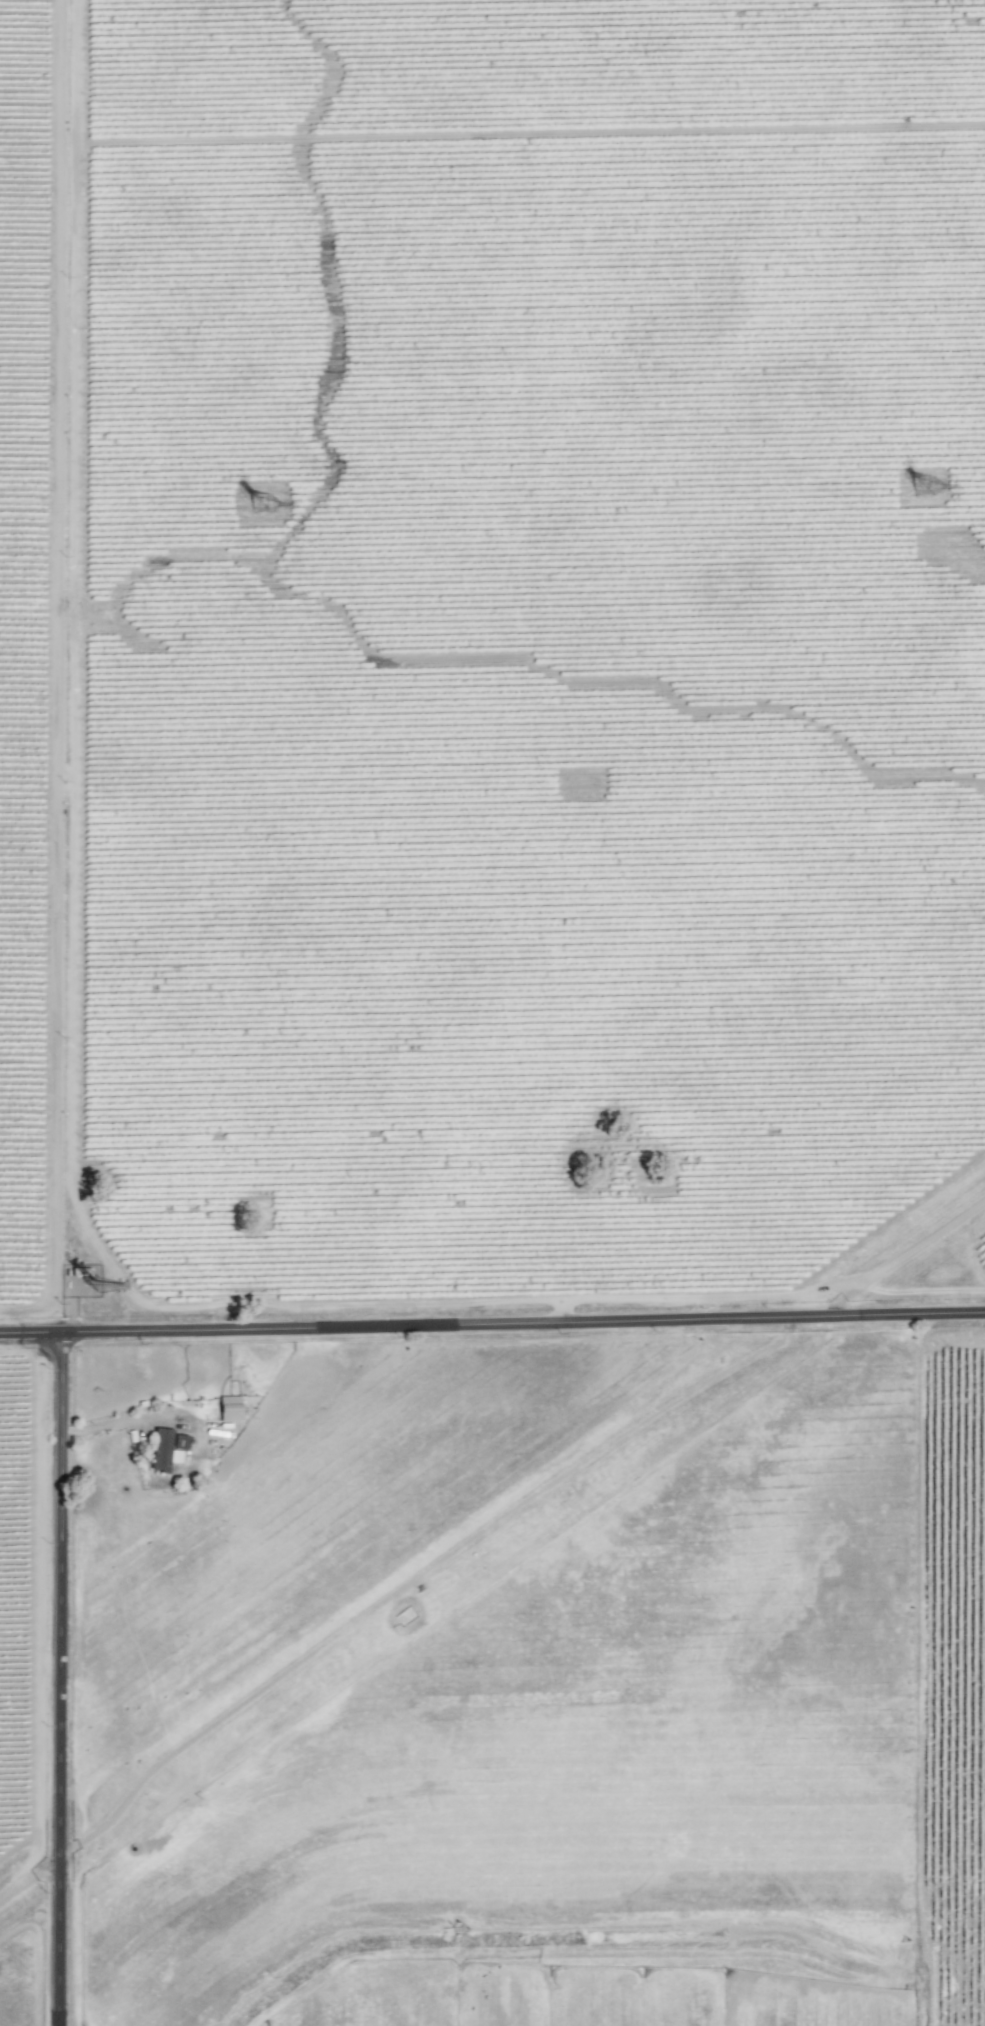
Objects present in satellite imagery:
power tower: (931, 488)
power tower: (270, 505)
road: (906, 1259)
road: (492, 1325)
building: (230, 1407)
road: (123, 1421)
building: (163, 1450)
road: (64, 1680)
road: (32, 1876)

